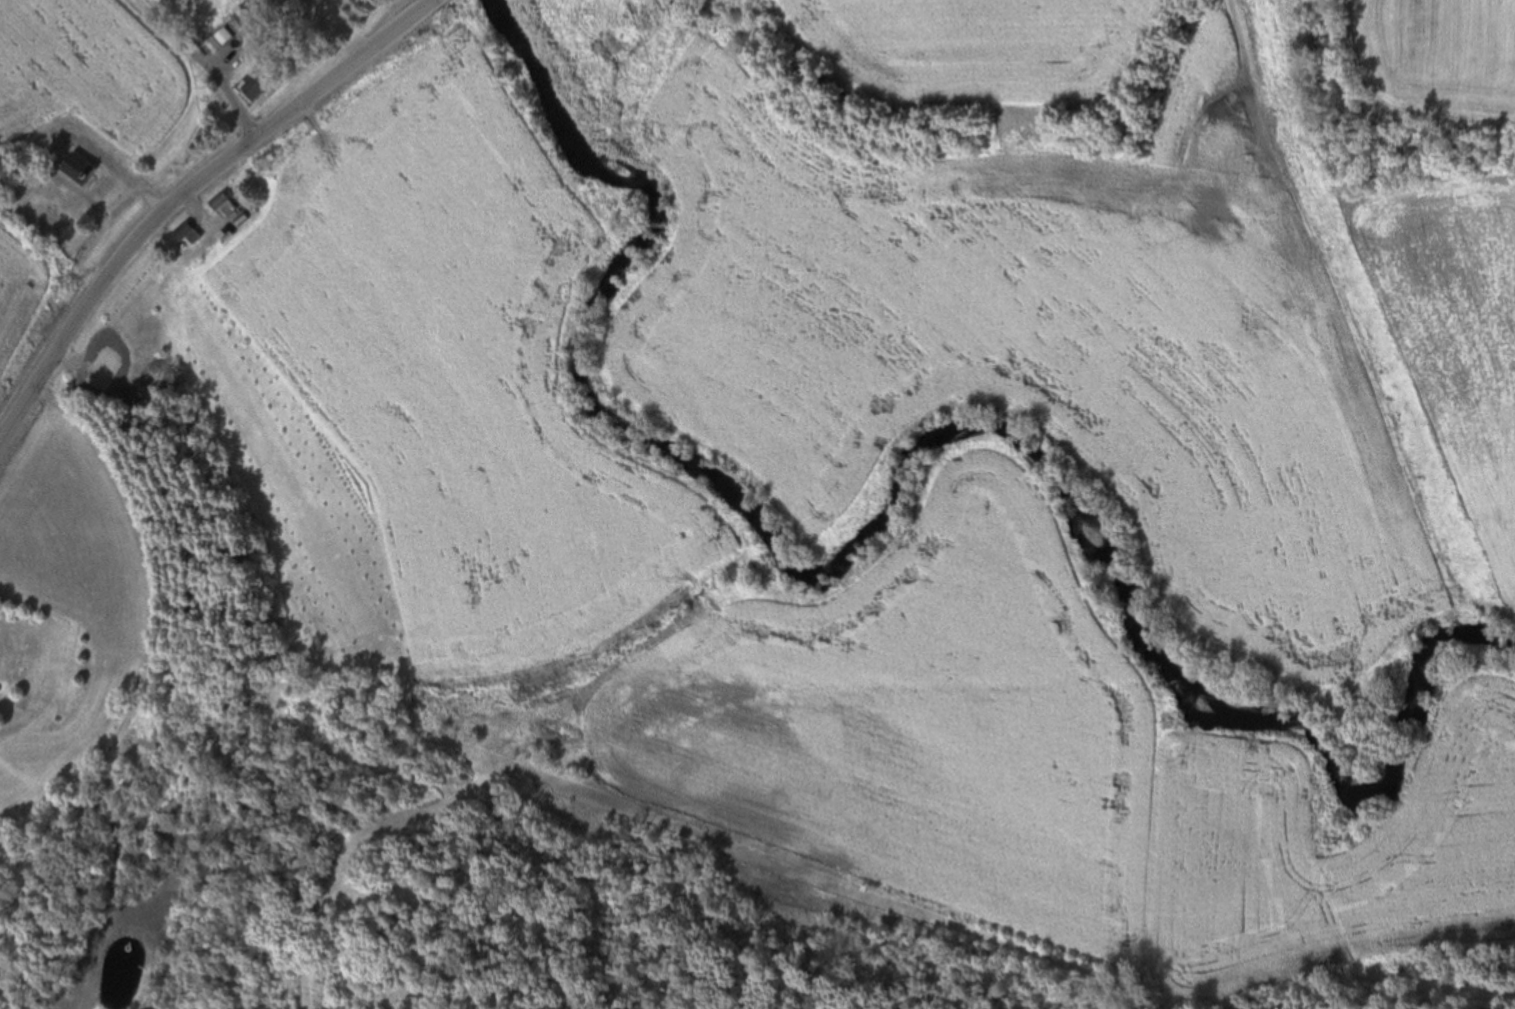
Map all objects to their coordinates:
building: (220, 38)
road: (203, 63)
building: (257, 83)
building: (77, 168)
road: (183, 195)
building: (222, 206)
building: (186, 235)
river: (619, 236)
river: (1170, 626)
river: (1510, 656)

